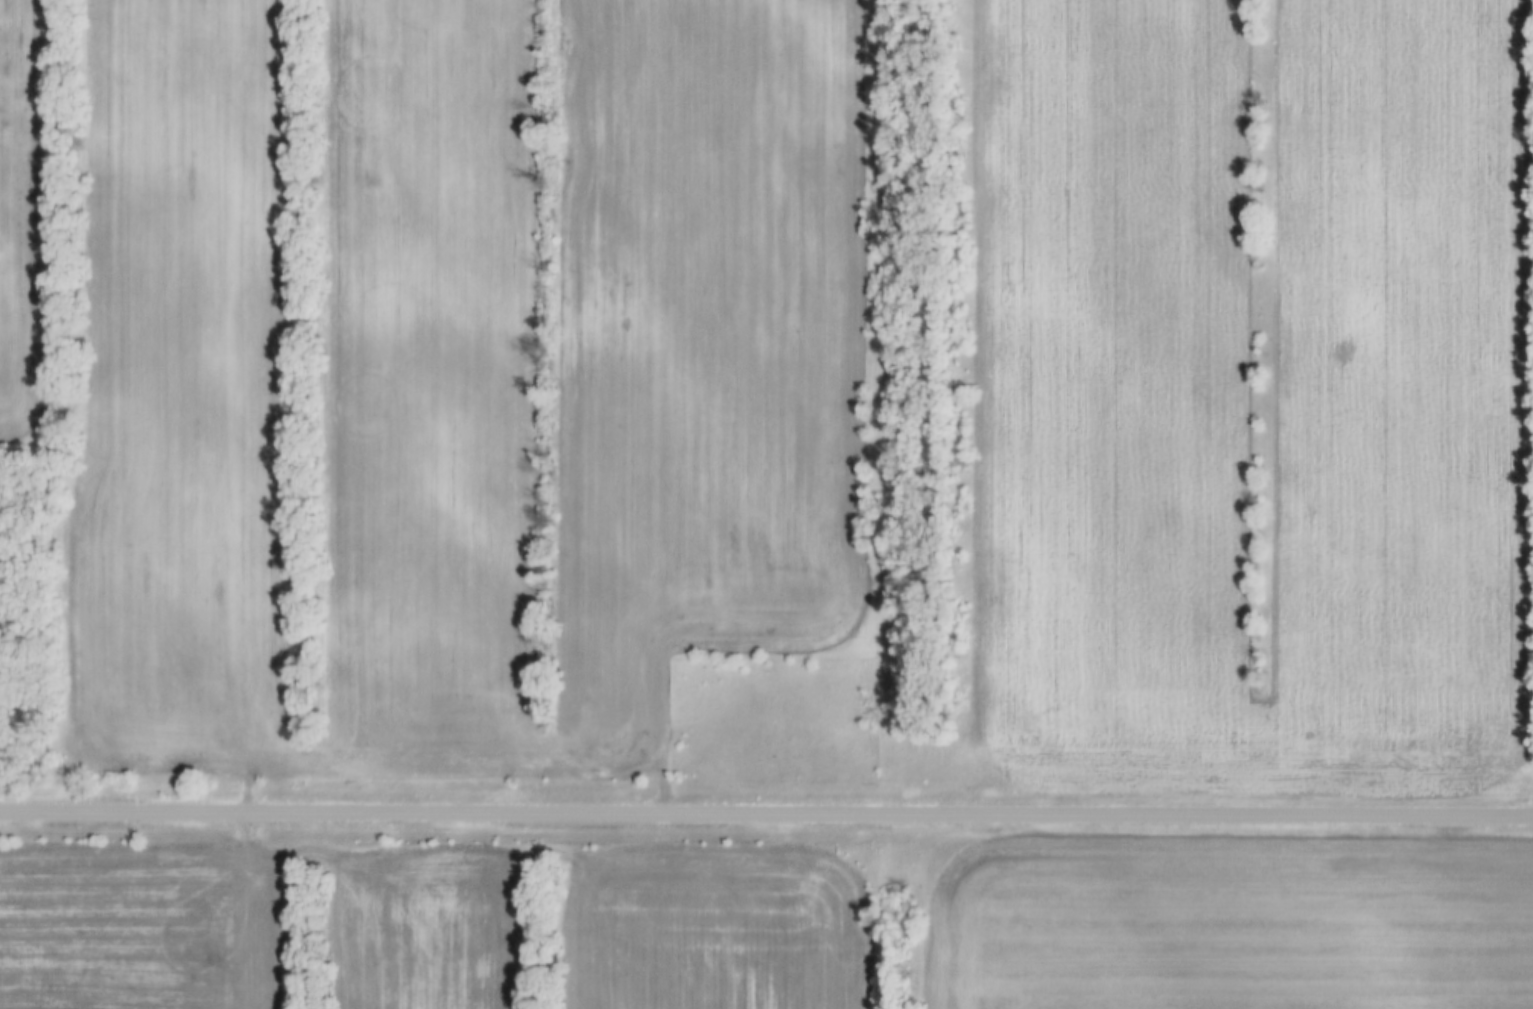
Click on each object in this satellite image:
road: (766, 815)

